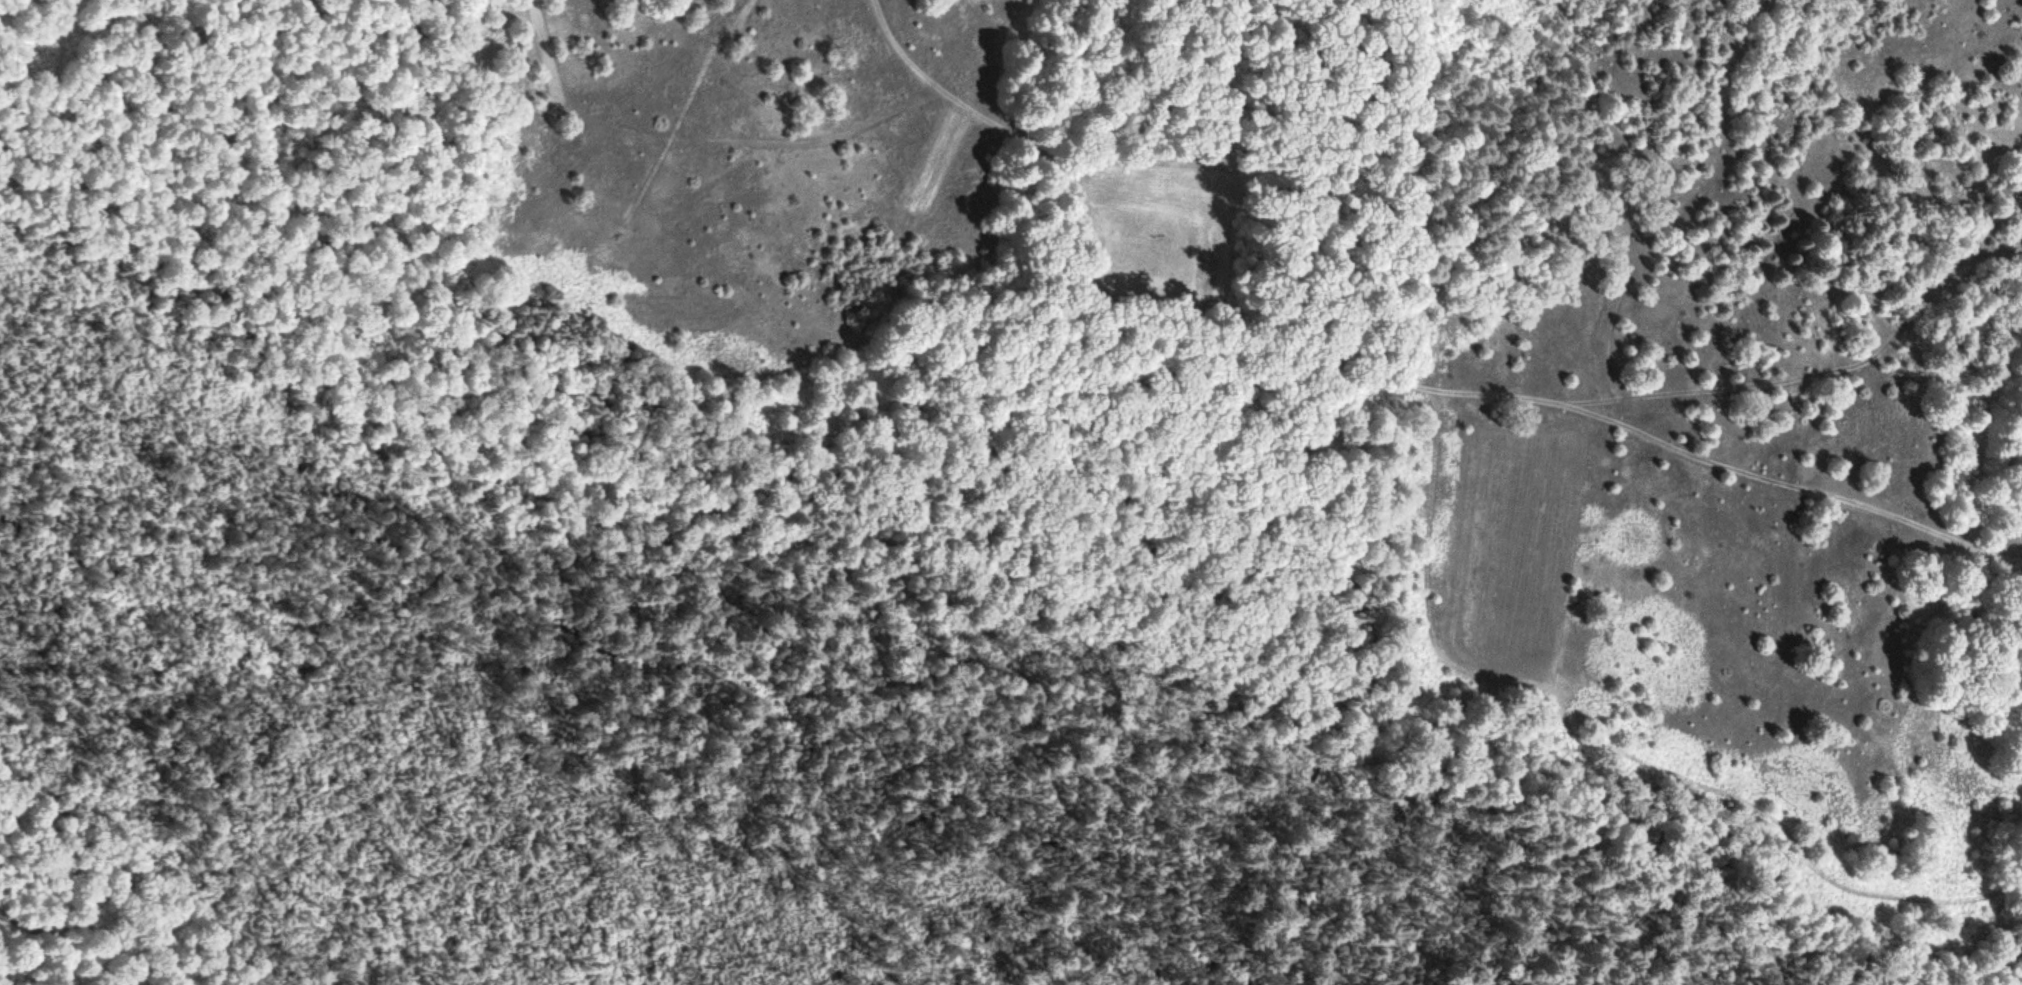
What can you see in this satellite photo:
road: (64, 943)

